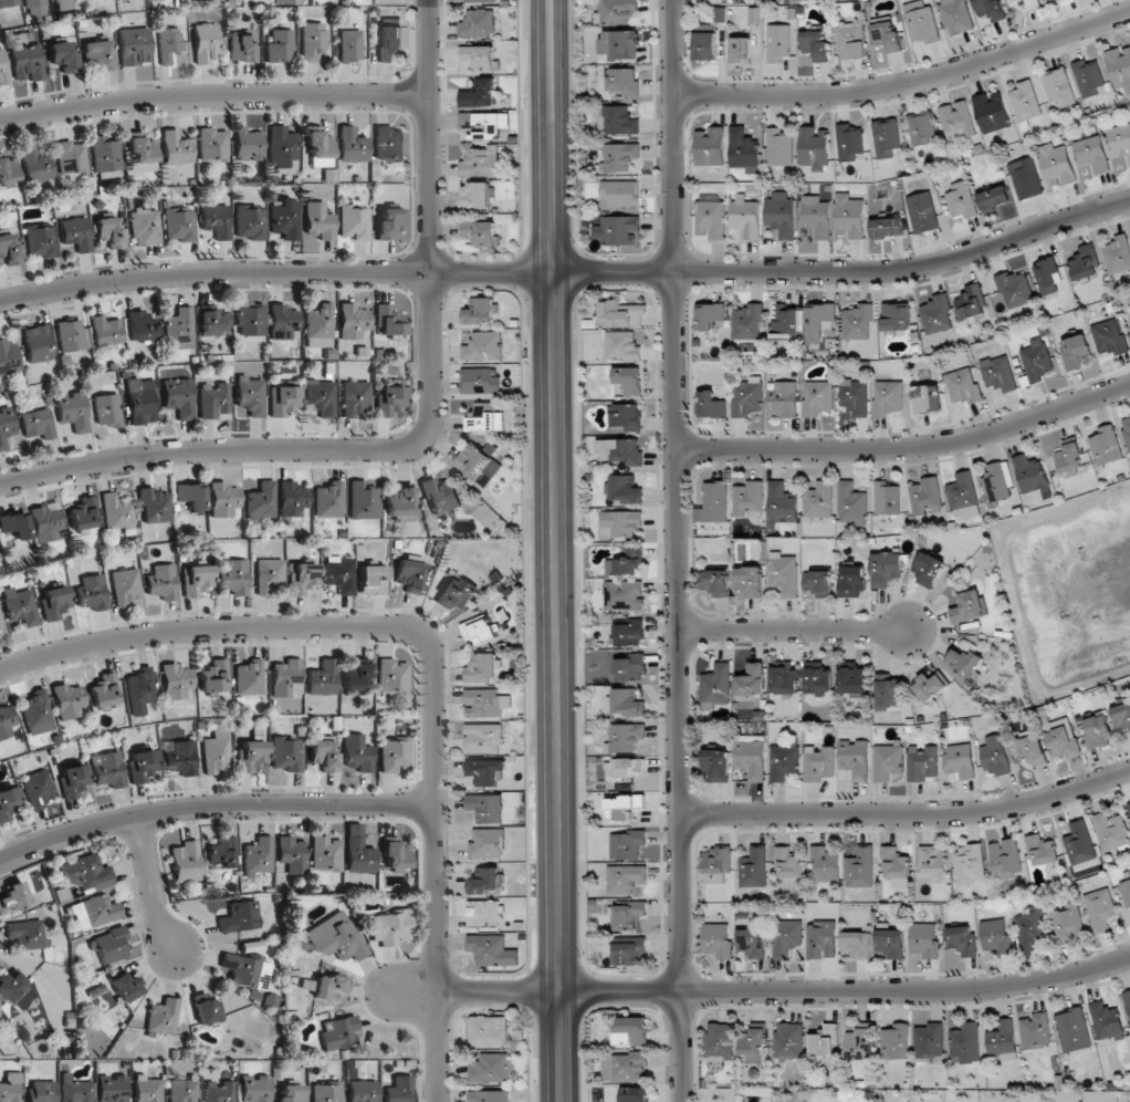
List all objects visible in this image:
building: (53, 0)
building: (479, 1)
building: (8, 2)
building: (1027, 3)
building: (35, 8)
building: (990, 9)
building: (616, 11)
building: (955, 15)
building: (478, 23)
building: (922, 24)
building: (886, 37)
building: (313, 41)
building: (850, 41)
building: (389, 42)
building: (205, 43)
building: (777, 43)
building: (168, 44)
building: (619, 44)
building: (135, 45)
building: (280, 45)
building: (350, 45)
building: (705, 45)
building: (243, 48)
building: (814, 48)
building: (741, 50)
building: (63, 55)
building: (97, 55)
building: (479, 58)
building: (27, 63)
building: (1119, 69)
building: (3, 70)
building: (1089, 77)
building: (624, 81)
road: (907, 82)
building: (1058, 87)
building: (478, 93)
road: (212, 97)
building: (1025, 102)
building: (991, 112)
building: (958, 119)
building: (617, 121)
building: (483, 124)
building: (921, 128)
building: (886, 137)
building: (1120, 141)
building: (849, 142)
building: (388, 144)
building: (212, 145)
building: (248, 145)
building: (352, 145)
building: (282, 146)
building: (320, 147)
building: (710, 147)
building: (778, 147)
building: (176, 148)
building: (814, 148)
building: (743, 150)
building: (106, 153)
building: (143, 153)
building: (1091, 154)
building: (620, 156)
building: (72, 158)
building: (480, 162)
building: (36, 165)
building: (1056, 165)
building: (8, 173)
building: (1025, 178)
building: (618, 194)
building: (475, 195)
building: (994, 198)
building: (960, 201)
building: (781, 212)
building: (922, 212)
building: (745, 216)
building: (816, 216)
building: (849, 216)
building: (711, 217)
building: (285, 218)
building: (216, 220)
building: (318, 221)
building: (250, 222)
building: (354, 222)
building: (389, 223)
building: (179, 225)
building: (145, 227)
building: (887, 227)
building: (617, 229)
building: (109, 232)
building: (75, 233)
building: (481, 233)
building: (41, 240)
building: (9, 250)
building: (1117, 254)
building: (1084, 261)
road: (568, 272)
building: (1047, 274)
building: (1014, 289)
building: (480, 311)
building: (621, 314)
building: (937, 314)
building: (709, 315)
building: (896, 316)
building: (250, 320)
building: (389, 320)
building: (282, 321)
building: (352, 321)
building: (819, 321)
building: (747, 322)
building: (858, 322)
building: (213, 323)
building: (785, 323)
building: (140, 326)
building: (318, 326)
building: (179, 329)
building: (106, 331)
building: (72, 335)
building: (1109, 336)
building: (38, 344)
building: (621, 345)
building: (483, 346)
building: (1075, 352)
building: (8, 356)
building: (1036, 360)
building: (998, 373)
building: (628, 380)
building: (480, 381)
building: (963, 386)
building: (251, 395)
building: (321, 396)
building: (855, 396)
building: (178, 397)
building: (749, 397)
building: (817, 397)
building: (888, 397)
building: (355, 398)
building: (927, 398)
building: (213, 399)
building: (388, 399)
building: (784, 399)
building: (283, 401)
building: (140, 403)
building: (710, 405)
building: (107, 409)
building: (73, 410)
building: (626, 416)
building: (484, 419)
building: (36, 425)
building: (6, 426)
road: (422, 430)
building: (1127, 430)
building: (1105, 446)
road: (908, 447)
building: (620, 450)
building: (1067, 458)
building: (478, 462)
building: (1029, 474)
building: (998, 481)
building: (624, 488)
building: (440, 496)
road: (678, 496)
building: (963, 496)
building: (191, 497)
building: (927, 497)
building: (887, 498)
building: (223, 499)
building: (292, 499)
building: (749, 499)
building: (328, 500)
building: (363, 500)
building: (819, 500)
building: (261, 501)
building: (714, 501)
building: (782, 503)
building: (851, 503)
building: (155, 505)
building: (398, 505)
building: (116, 511)
building: (83, 513)
building: (48, 522)
building: (621, 523)
building: (14, 526)
road: (552, 551)
building: (626, 562)
building: (887, 568)
building: (929, 569)
building: (409, 572)
building: (783, 573)
building: (341, 574)
building: (269, 576)
building: (233, 578)
building: (302, 578)
building: (373, 579)
building: (196, 580)
building: (750, 581)
building: (851, 581)
building: (161, 582)
building: (714, 582)
building: (125, 586)
building: (456, 592)
building: (91, 593)
building: (624, 595)
building: (54, 602)
building: (20, 606)
building: (967, 607)
building: (0, 623)
building: (479, 628)
building: (628, 631)
road: (793, 632)
road: (433, 652)
building: (964, 662)
building: (482, 667)
building: (630, 668)
building: (356, 675)
building: (215, 676)
building: (393, 676)
building: (249, 677)
building: (286, 677)
building: (323, 678)
building: (818, 678)
building: (784, 679)
building: (852, 680)
building: (751, 682)
building: (177, 684)
building: (716, 685)
building: (930, 686)
building: (104, 689)
building: (139, 689)
building: (888, 692)
building: (67, 700)
building: (485, 703)
building: (627, 703)
building: (36, 713)
building: (1121, 716)
building: (6, 721)
building: (1097, 731)
building: (625, 737)
building: (482, 738)
building: (1063, 739)
building: (1032, 750)
building: (217, 752)
building: (286, 753)
building: (324, 753)
building: (358, 753)
building: (394, 753)
building: (995, 755)
building: (252, 756)
building: (751, 756)
building: (180, 758)
building: (855, 759)
building: (960, 760)
building: (888, 761)
building: (783, 762)
building: (922, 762)
building: (818, 763)
building: (718, 765)
building: (142, 766)
building: (627, 767)
building: (108, 769)
building: (485, 771)
building: (73, 780)
building: (38, 789)
building: (8, 802)
building: (1129, 805)
building: (622, 807)
building: (485, 808)
road: (213, 809)
road: (908, 813)
building: (1110, 831)
building: (486, 843)
building: (1079, 843)
building: (626, 844)
building: (1042, 850)
building: (358, 851)
building: (223, 852)
building: (325, 853)
building: (291, 854)
building: (258, 855)
building: (395, 855)
building: (1004, 859)
building: (931, 861)
building: (186, 862)
building: (788, 864)
building: (825, 864)
building: (969, 865)
building: (896, 866)
building: (753, 867)
building: (860, 869)
building: (85, 872)
building: (624, 879)
building: (358, 880)
building: (484, 881)
road: (151, 887)
building: (1126, 892)
building: (13, 897)
building: (1099, 908)
building: (94, 912)
building: (483, 913)
building: (629, 916)
building: (240, 917)
building: (1068, 923)
building: (389, 927)
building: (1030, 929)
building: (24, 934)
building: (995, 935)
building: (335, 937)
building: (786, 937)
building: (820, 939)
building: (716, 940)
building: (923, 940)
building: (963, 940)
building: (752, 943)
building: (891, 943)
building: (856, 944)
building: (109, 945)
building: (492, 950)
building: (629, 952)
building: (245, 970)
building: (10, 986)
building: (127, 986)
building: (329, 987)
road: (761, 994)
building: (1127, 1001)
building: (208, 1011)
building: (163, 1017)
building: (1106, 1020)
building: (1036, 1030)
building: (1073, 1030)
building: (488, 1031)
building: (631, 1031)
building: (339, 1032)
building: (719, 1040)
building: (825, 1040)
building: (788, 1041)
building: (896, 1041)
building: (929, 1041)
building: (1002, 1041)
building: (859, 1043)
building: (965, 1043)
building: (752, 1044)
road: (682, 1048)
building: (624, 1067)
building: (491, 1068)
building: (112, 1088)
building: (254, 1088)
building: (10, 1089)
building: (147, 1089)
building: (75, 1090)
building: (182, 1090)
building: (399, 1090)
building: (42, 1091)
building: (218, 1091)
building: (362, 1091)
building: (326, 1092)
building: (291, 1093)
building: (635, 1094)
building: (490, 1095)

